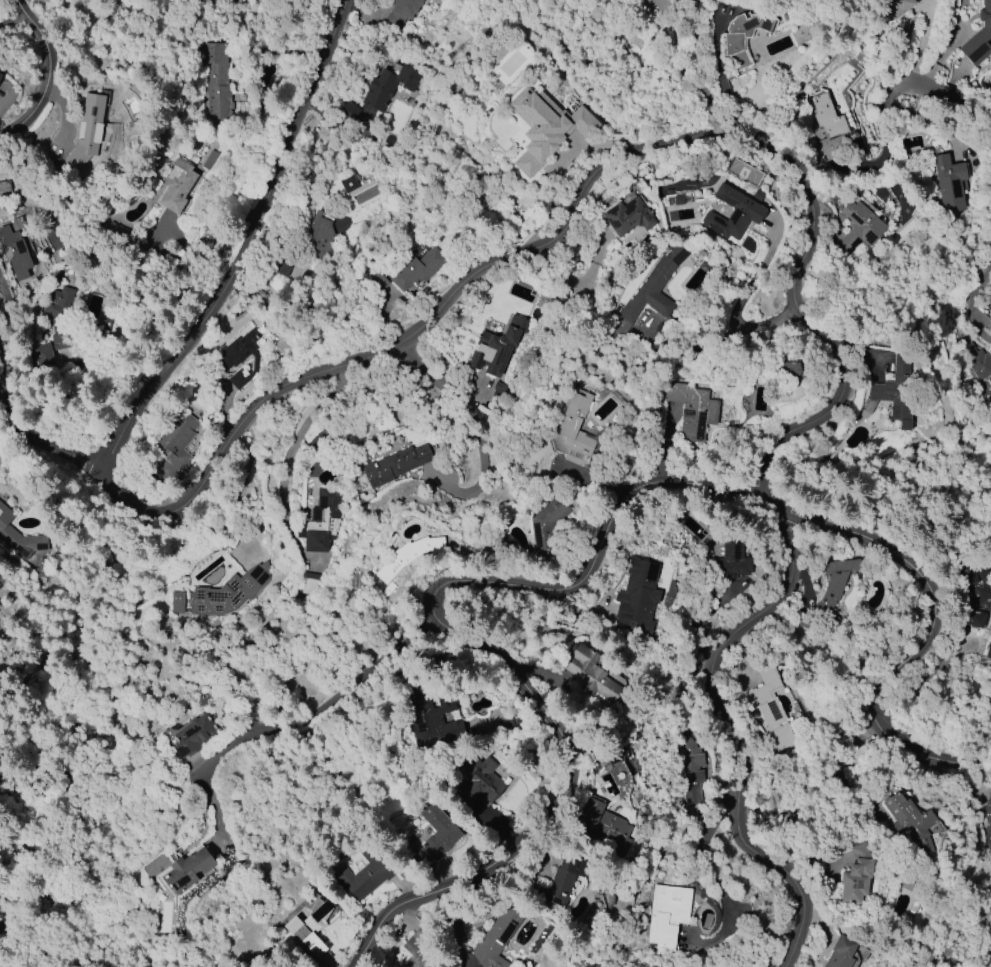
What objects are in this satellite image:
building: (898, 6)
road: (15, 10)
building: (660, 10)
building: (401, 12)
building: (743, 36)
building: (978, 36)
building: (500, 51)
building: (0, 75)
building: (0, 76)
road: (46, 77)
building: (217, 79)
building: (388, 87)
road: (960, 105)
building: (348, 111)
building: (546, 128)
building: (828, 128)
building: (87, 131)
building: (209, 159)
building: (950, 183)
building: (177, 186)
building: (362, 188)
road: (810, 192)
building: (734, 212)
building: (626, 217)
building: (858, 227)
building: (117, 229)
building: (326, 234)
road: (247, 244)
building: (15, 251)
building: (417, 270)
building: (651, 295)
road: (973, 304)
road: (733, 315)
building: (55, 326)
building: (497, 348)
building: (236, 350)
building: (977, 362)
building: (237, 380)
building: (890, 395)
building: (691, 410)
road: (10, 412)
building: (575, 429)
road: (474, 430)
building: (174, 445)
road: (289, 460)
building: (396, 464)
building: (321, 520)
building: (547, 523)
building: (19, 537)
building: (408, 555)
road: (592, 557)
building: (732, 558)
building: (309, 583)
building: (835, 583)
building: (976, 592)
building: (227, 593)
building: (637, 596)
building: (176, 602)
building: (988, 651)
building: (589, 673)
building: (768, 707)
road: (318, 708)
building: (431, 717)
building: (194, 735)
building: (692, 766)
building: (478, 781)
building: (909, 821)
building: (987, 823)
building: (605, 827)
building: (436, 836)
building: (187, 870)
building: (365, 874)
building: (856, 875)
building: (558, 883)
road: (720, 891)
building: (667, 915)
building: (309, 928)
building: (496, 938)
building: (420, 950)
building: (842, 952)

